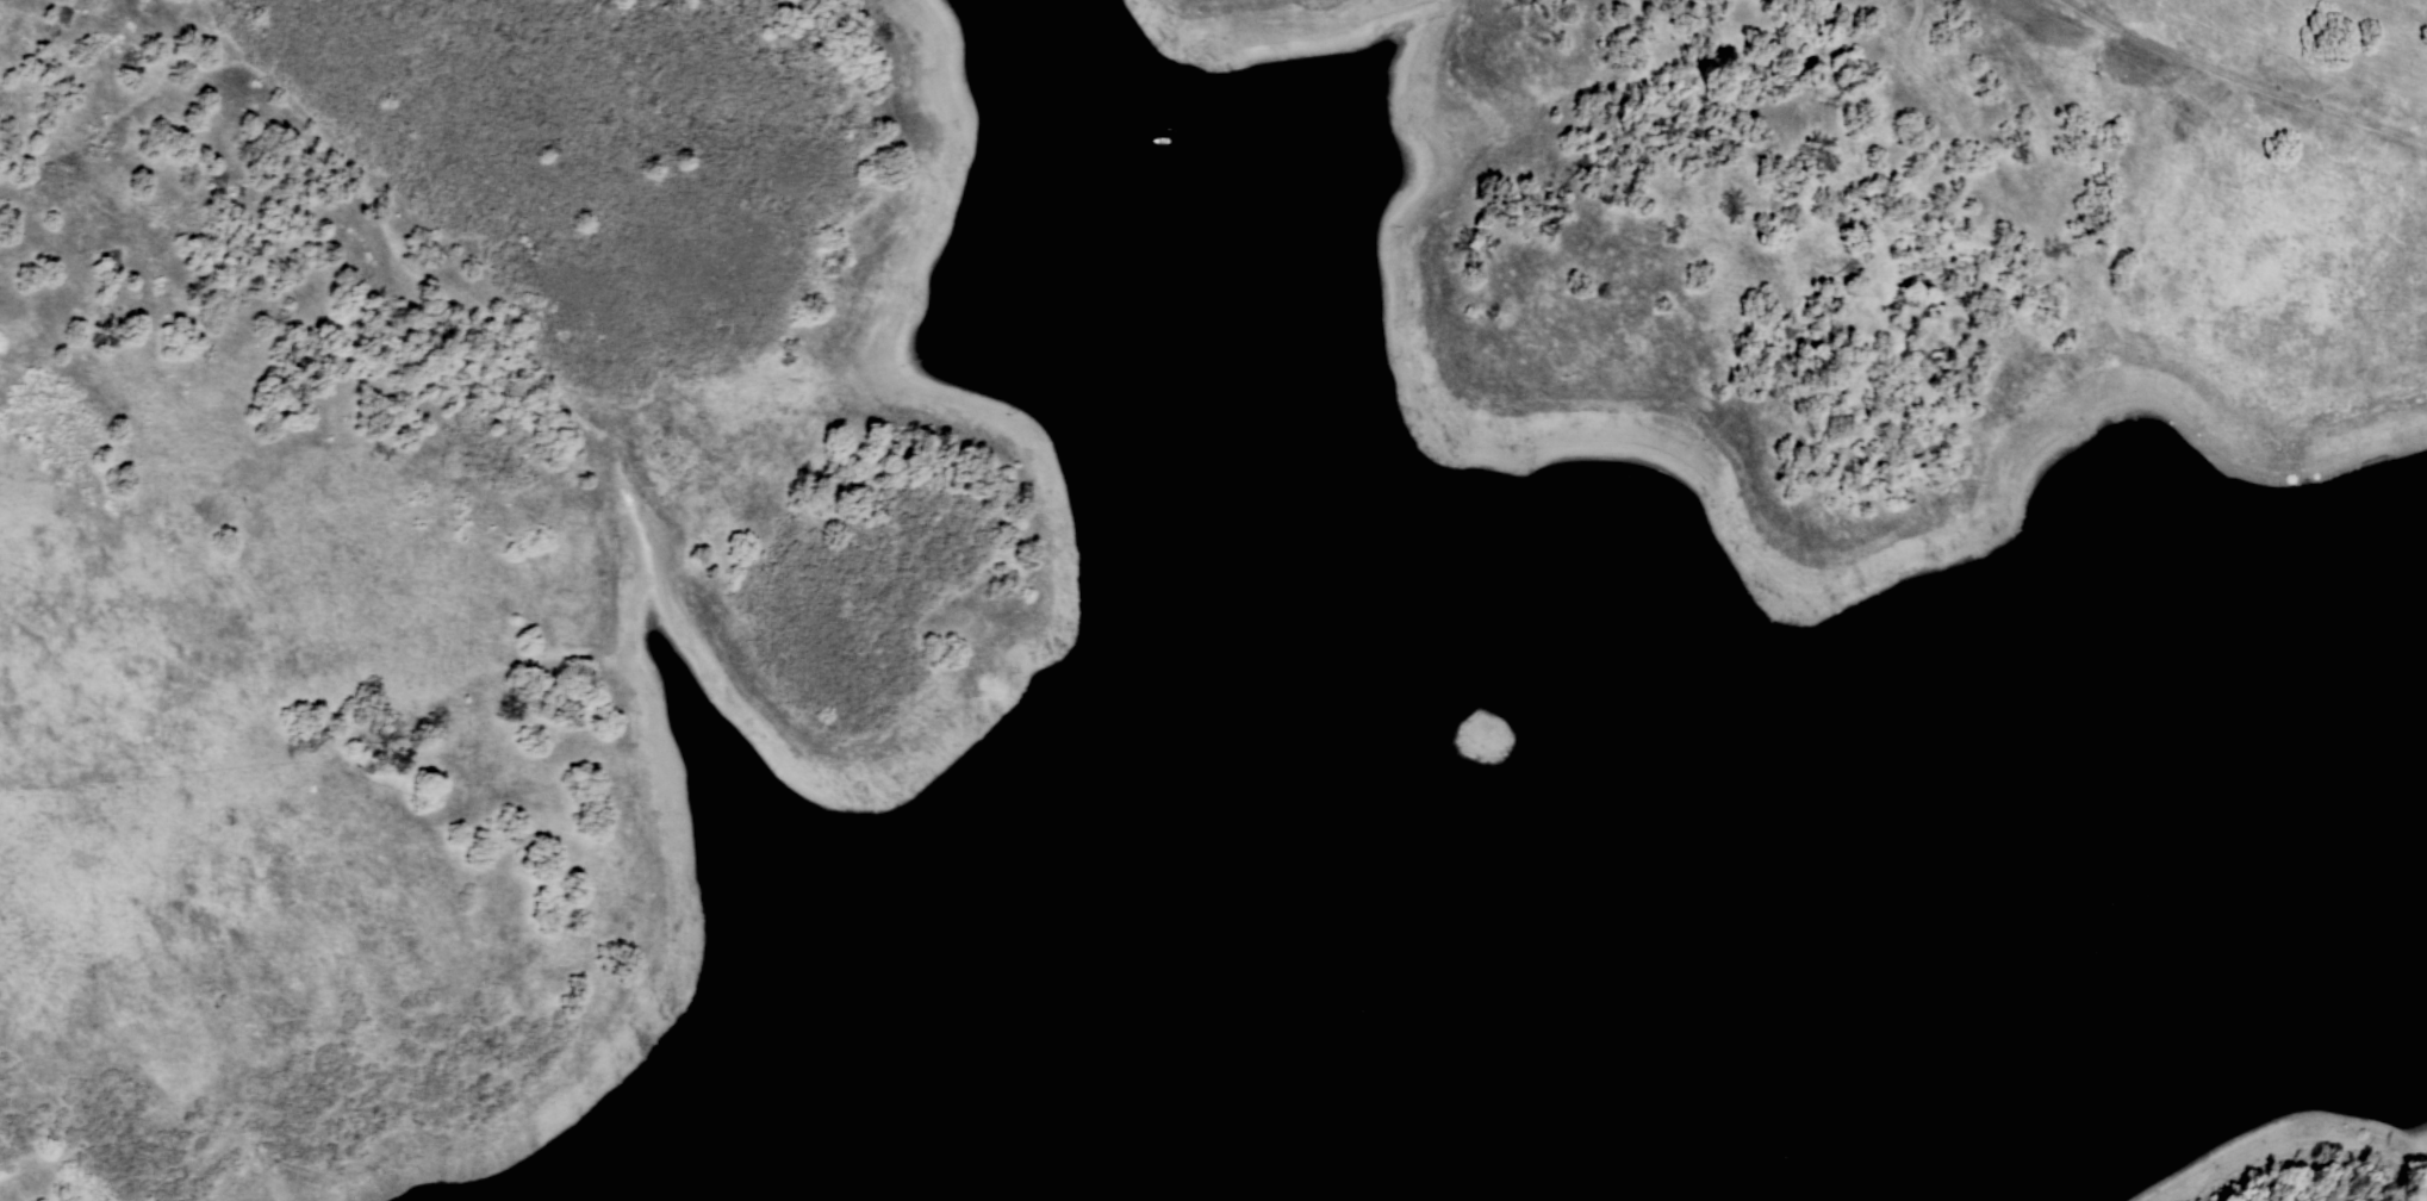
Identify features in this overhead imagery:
road: (2246, 93)
river: (1877, 889)

